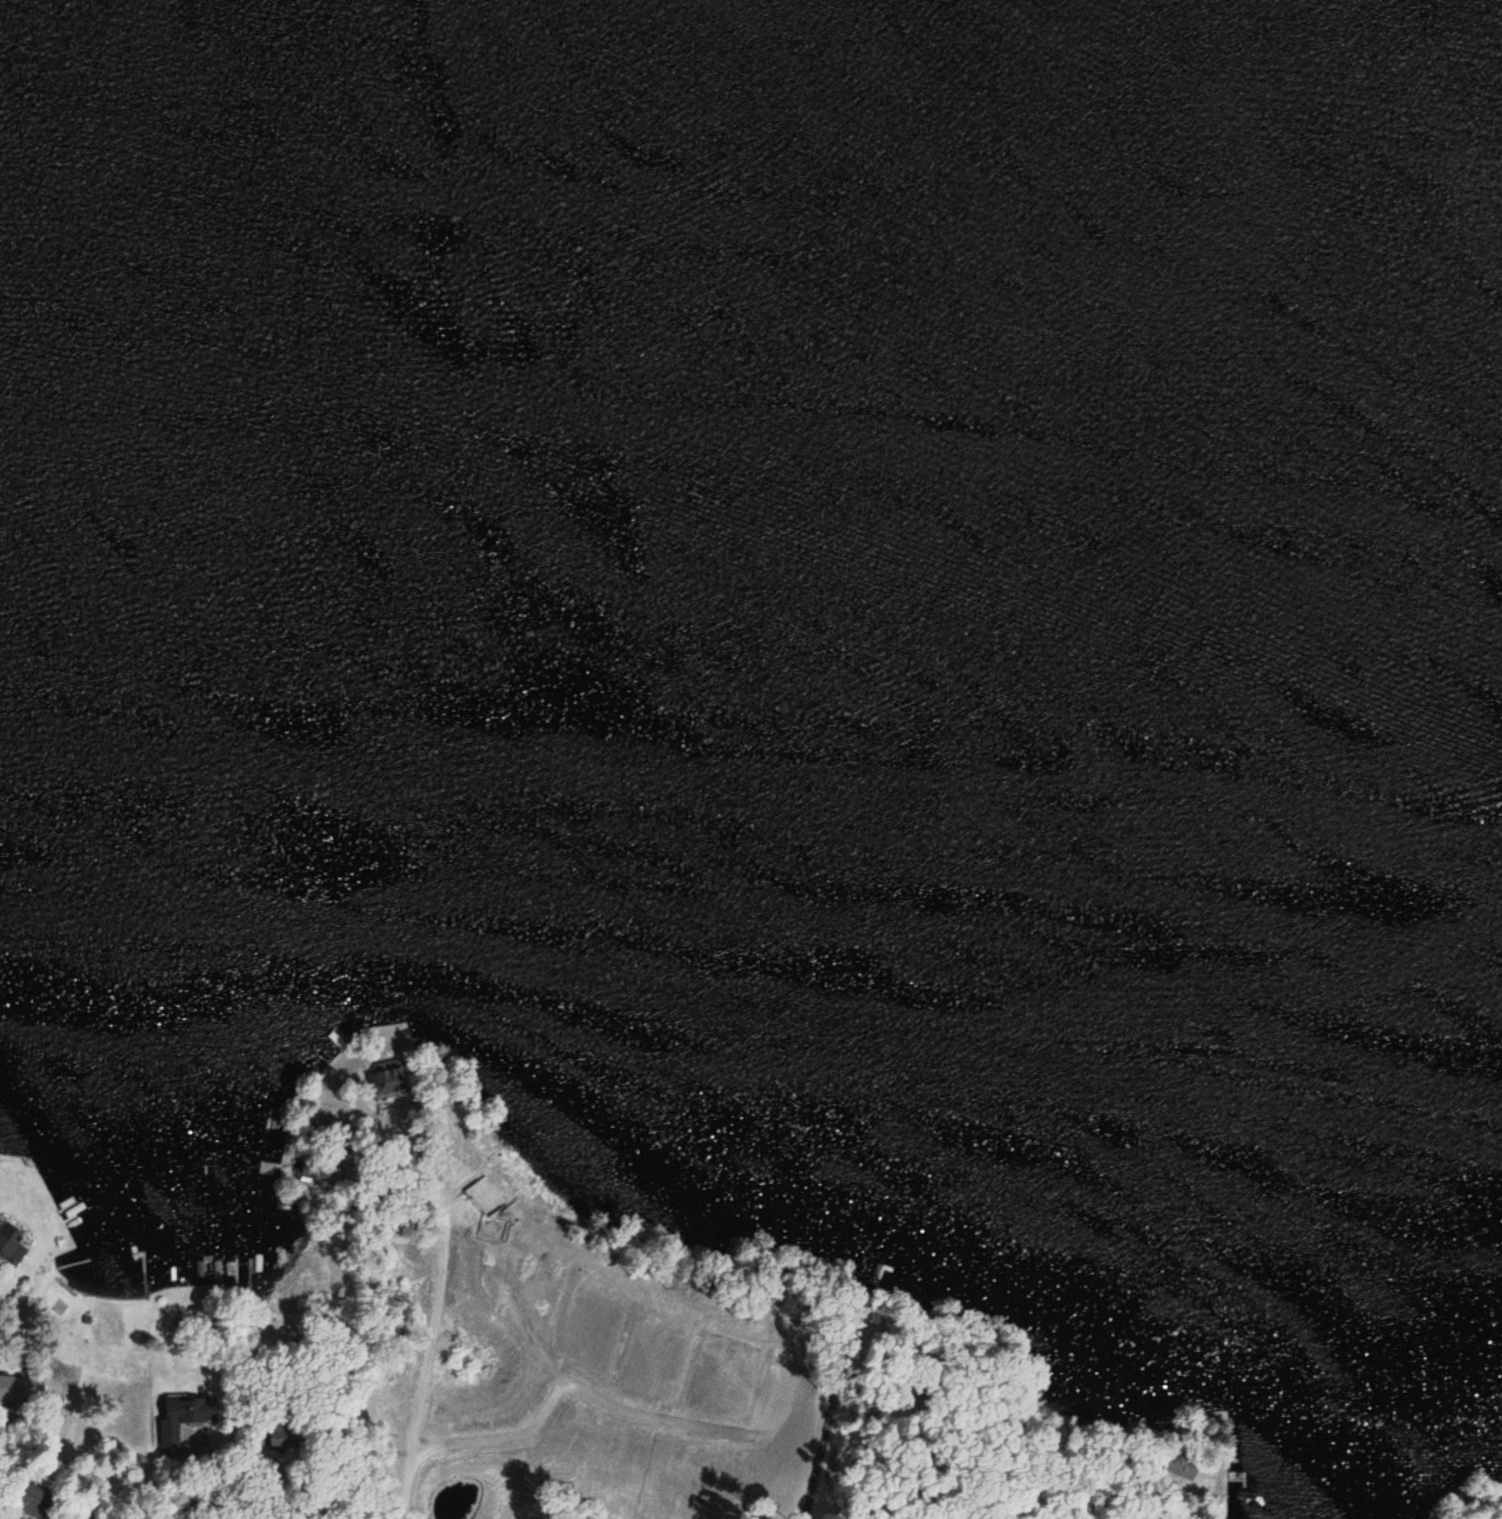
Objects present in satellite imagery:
river: (751, 345)
building: (388, 1079)
building: (10, 1248)
road: (422, 1382)
road: (571, 1382)
building: (16, 1388)
building: (183, 1412)
building: (32, 1500)

